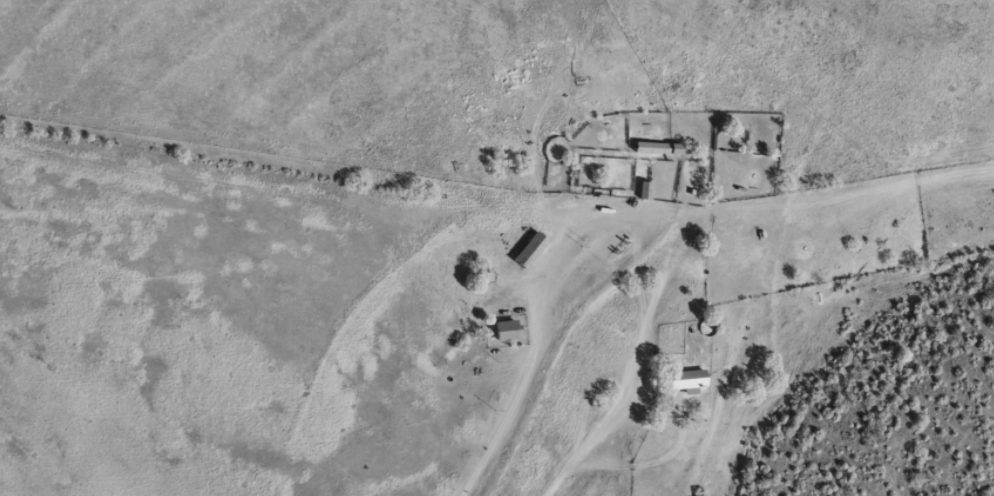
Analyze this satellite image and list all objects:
building: (667, 145)
road: (656, 224)
building: (527, 247)
building: (503, 328)
road: (655, 366)
building: (684, 378)

